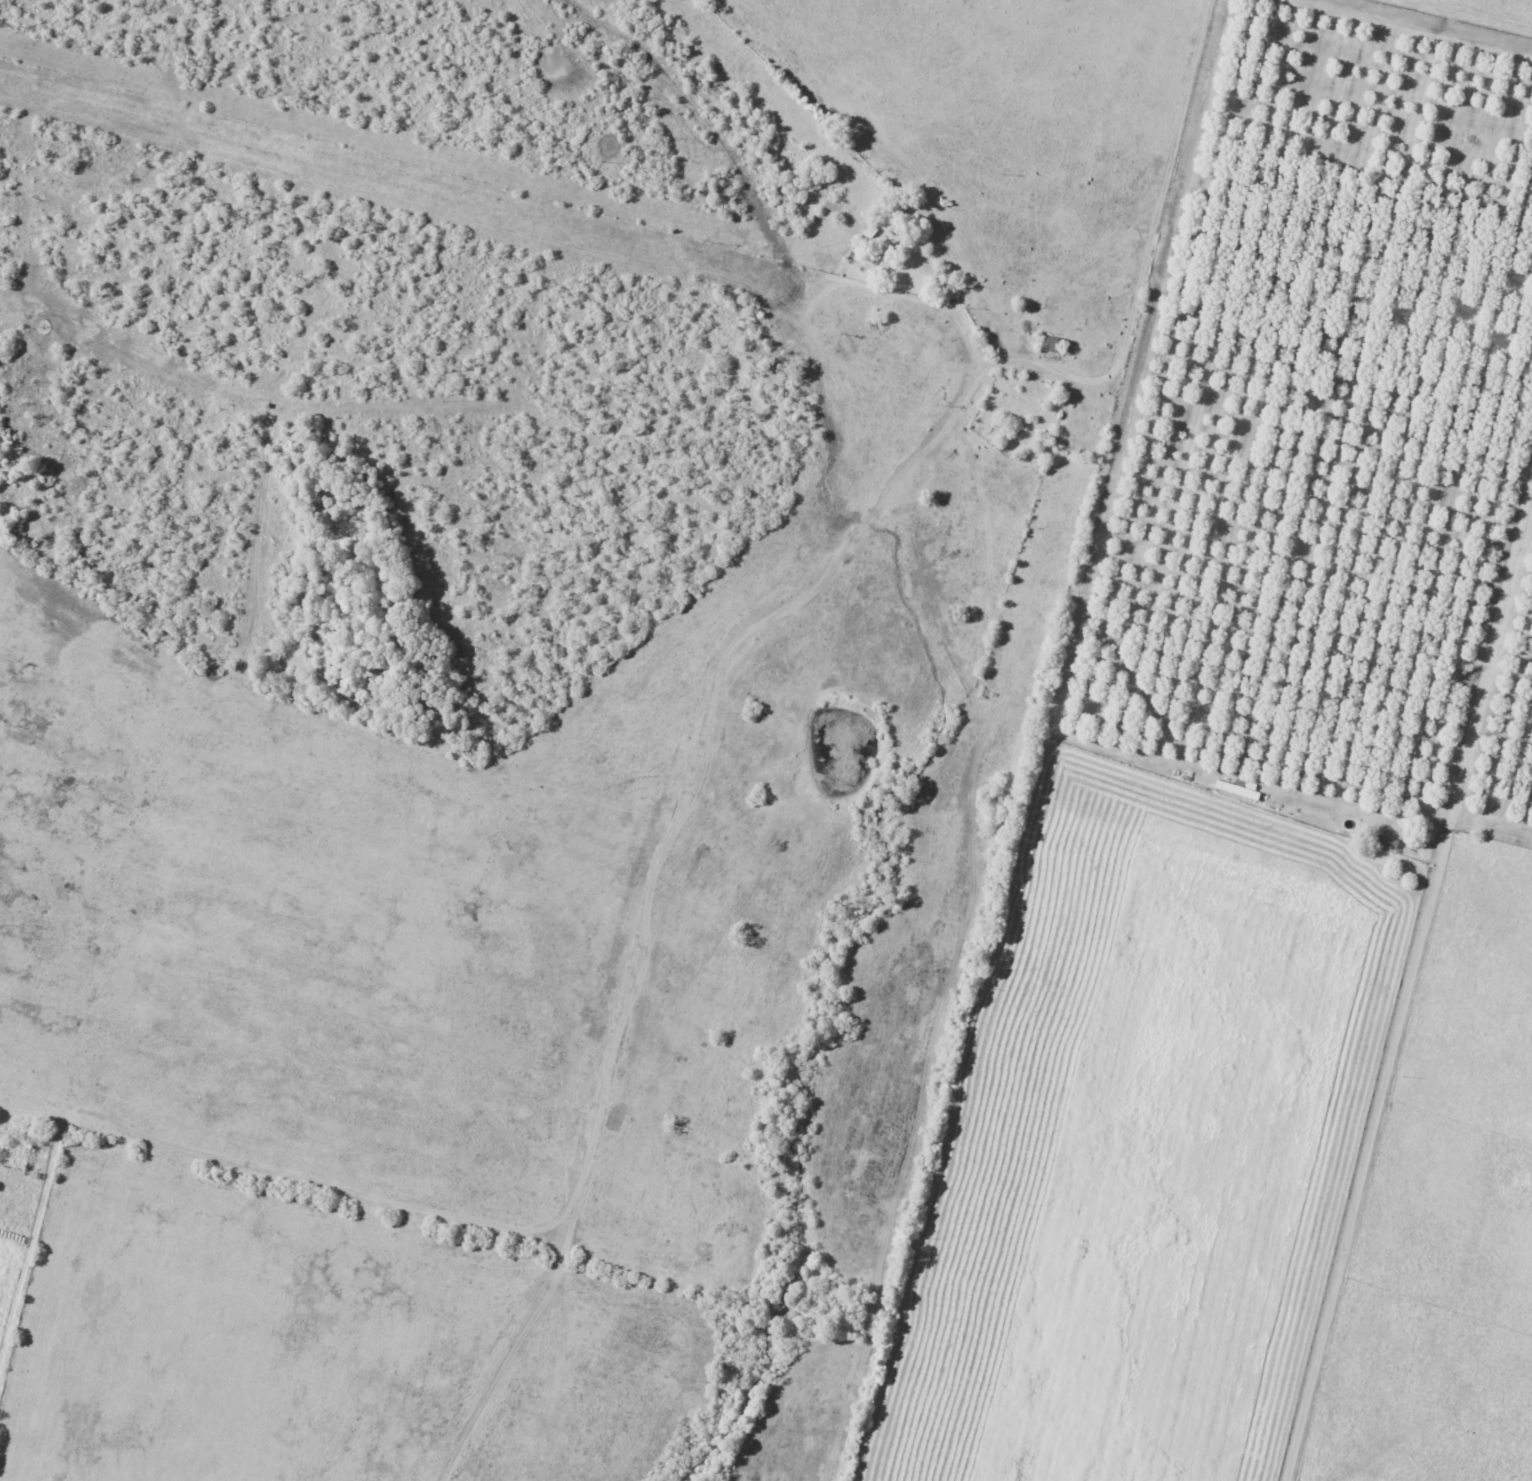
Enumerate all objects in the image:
road: (1455, 25)
road: (956, 305)
road: (748, 645)
road: (1409, 993)

